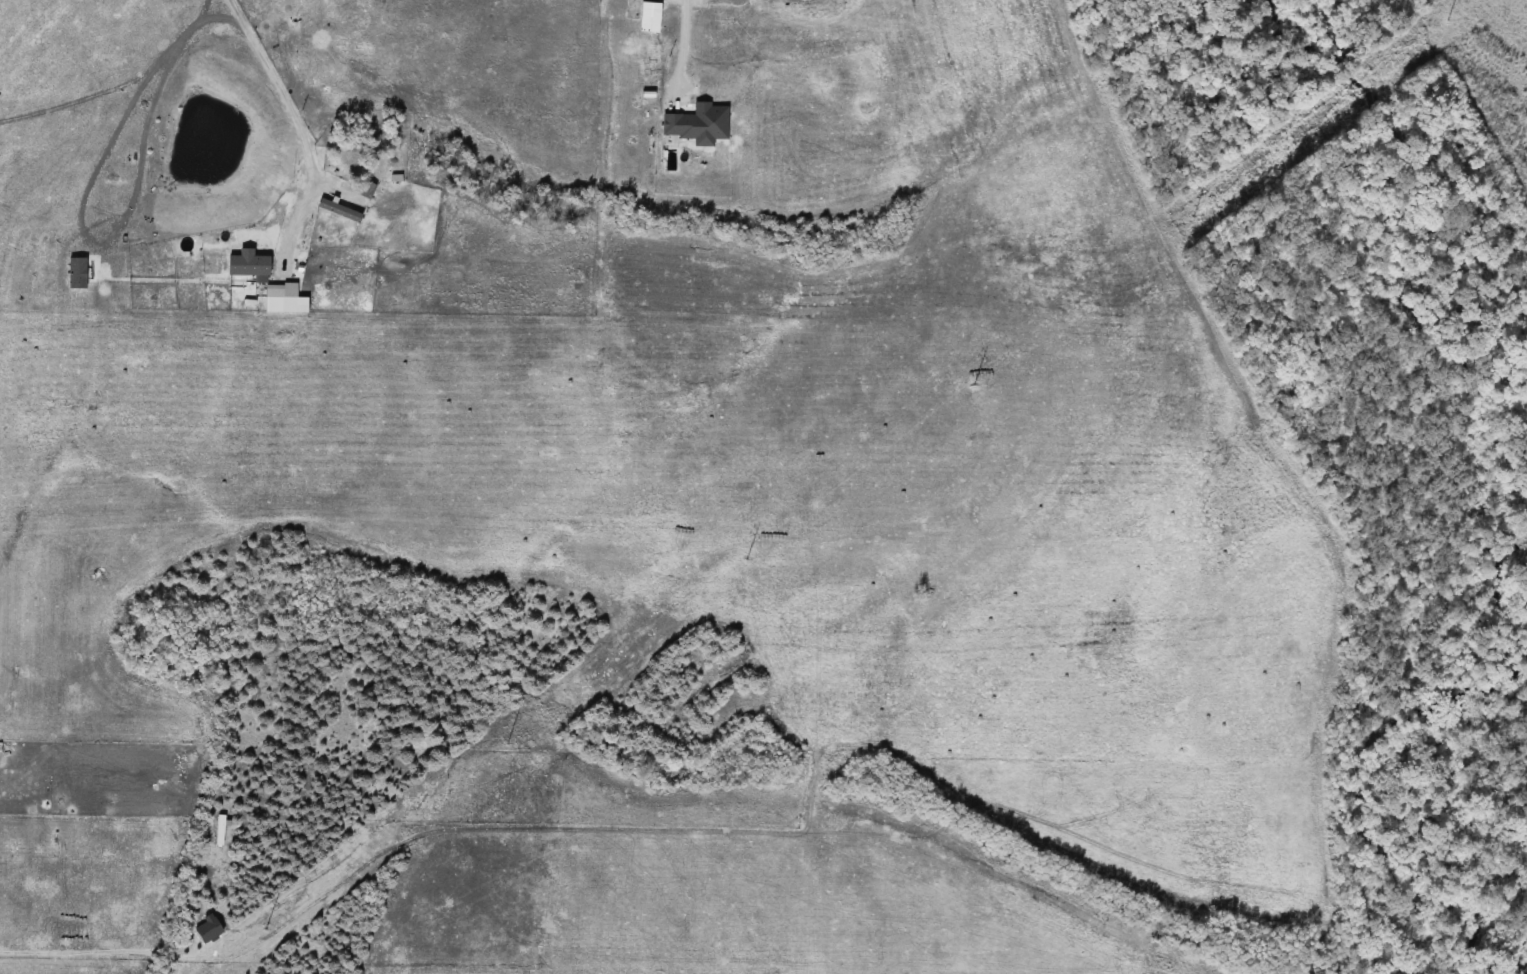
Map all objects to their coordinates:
power tower: (1465, 24)
road: (686, 41)
road: (297, 122)
power tower: (1207, 220)
power tower: (986, 389)
power tower: (759, 565)
power tower: (523, 745)
power tower: (276, 931)
road: (103, 954)

